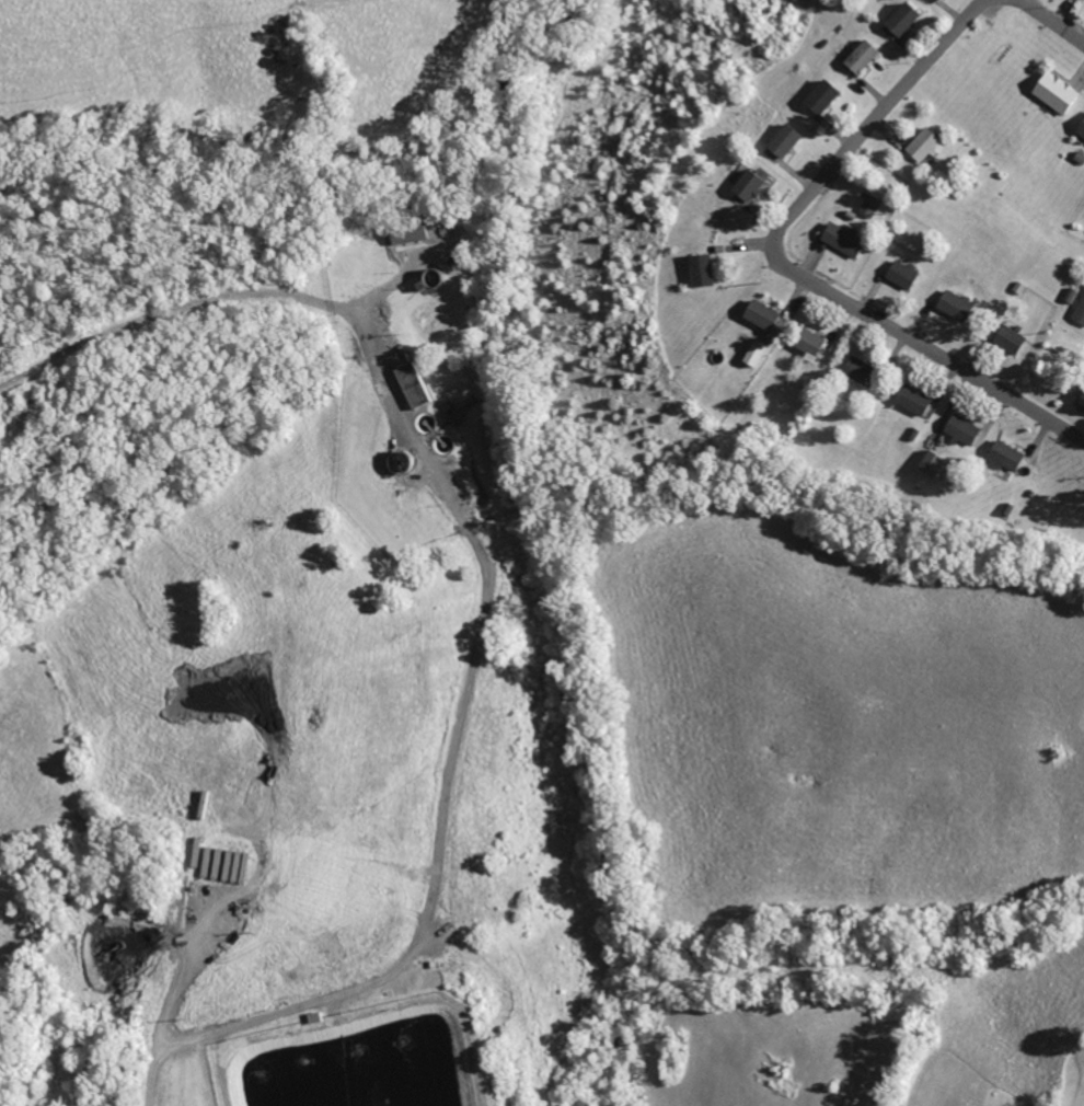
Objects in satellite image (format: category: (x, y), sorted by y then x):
building: (898, 19)
road: (1052, 22)
building: (857, 56)
building: (1051, 92)
building: (817, 95)
building: (1080, 128)
building: (780, 140)
building: (919, 145)
building: (745, 185)
building: (867, 205)
building: (403, 235)
building: (838, 239)
road: (786, 262)
building: (696, 270)
building: (898, 274)
building: (950, 304)
building: (1077, 310)
road: (155, 314)
building: (757, 314)
building: (1005, 338)
building: (805, 344)
building: (751, 353)
building: (855, 369)
wastewater plant: (411, 383)
building: (407, 385)
building: (909, 400)
building: (1081, 402)
building: (958, 429)
building: (1001, 454)
building: (927, 464)
building: (224, 863)
wastewater plant: (364, 1059)

